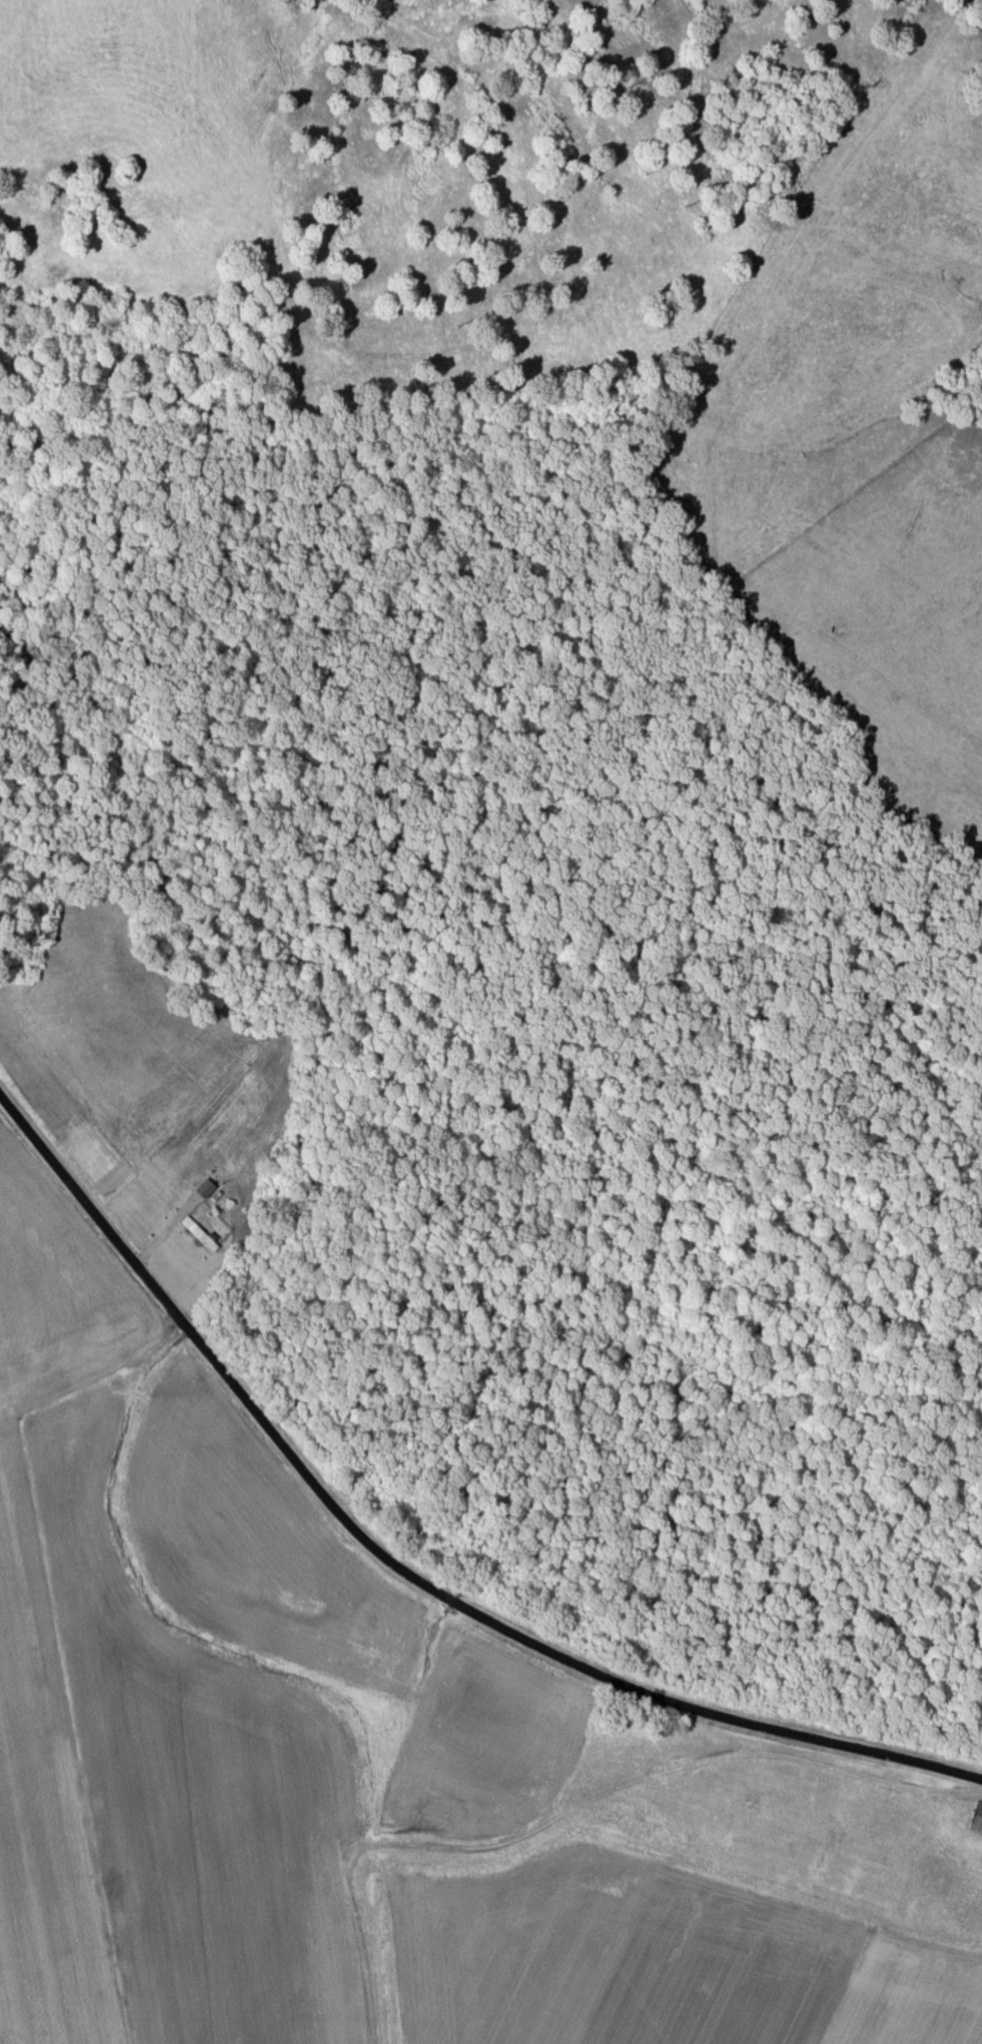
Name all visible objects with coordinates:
building: (209, 1190)
building: (203, 1235)
road: (404, 1566)
building: (979, 1820)

